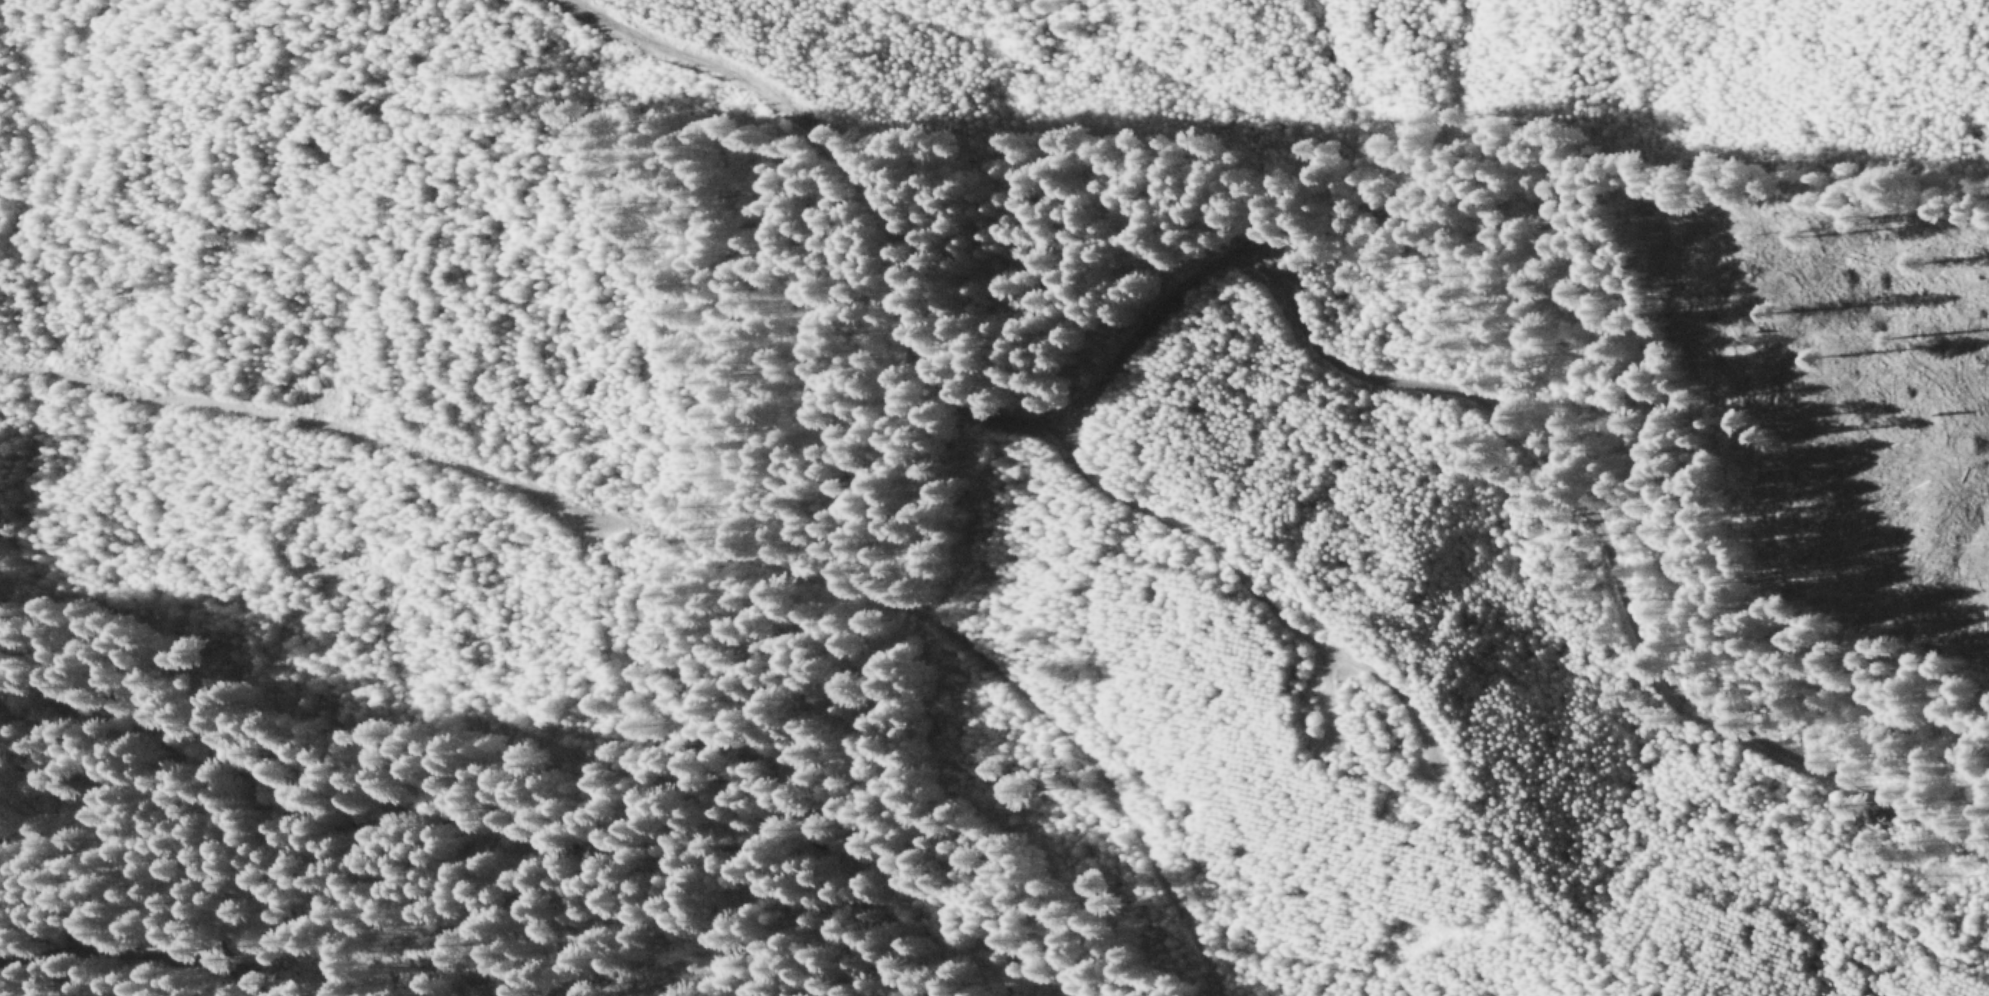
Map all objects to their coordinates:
road: (878, 192)
road: (1313, 337)
road: (702, 540)
road: (1329, 684)
road: (126, 948)

